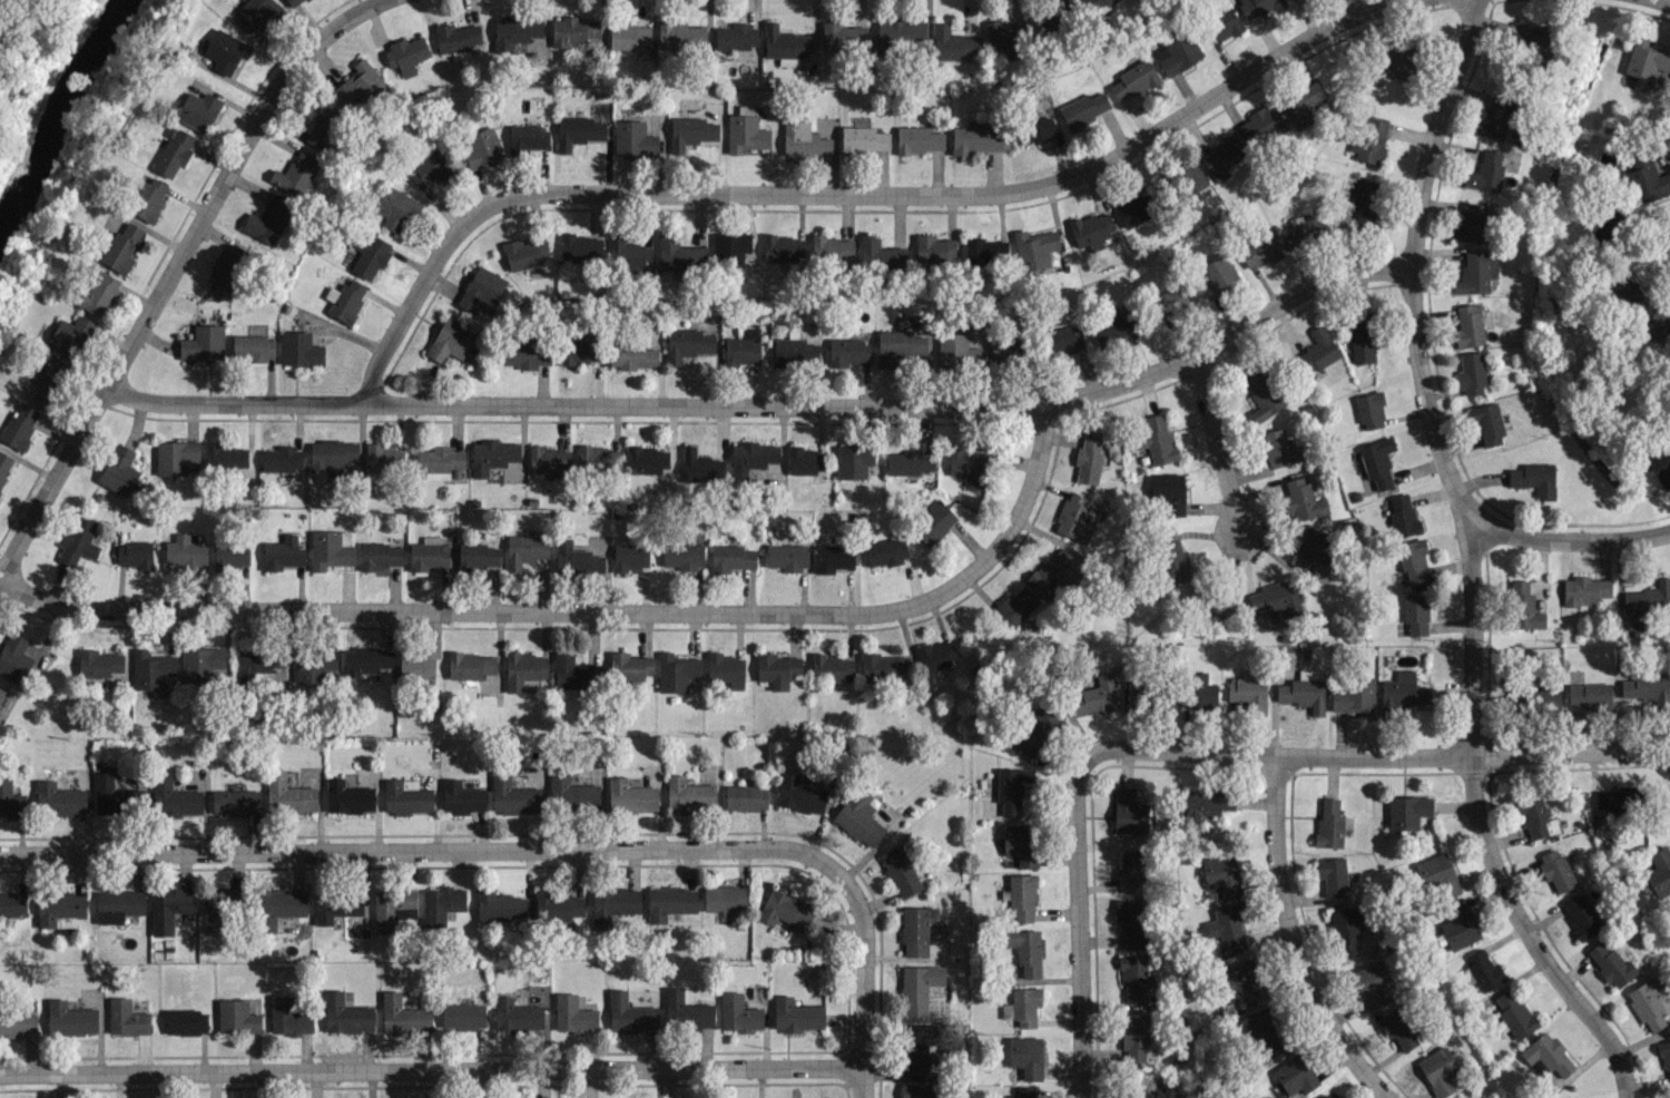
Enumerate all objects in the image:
road: (1666, 0)
building: (293, 2)
building: (1099, 3)
building: (1258, 7)
building: (257, 12)
building: (1058, 17)
building: (1220, 26)
building: (573, 30)
building: (514, 31)
building: (897, 32)
building: (681, 35)
building: (733, 36)
building: (629, 37)
building: (843, 37)
building: (1005, 38)
building: (455, 39)
building: (1534, 42)
building: (954, 43)
building: (785, 45)
building: (226, 50)
building: (1177, 52)
building: (406, 55)
building: (1399, 57)
building: (1646, 59)
building: (1133, 79)
building: (360, 84)
building: (1083, 109)
building: (198, 110)
river: (65, 114)
building: (1496, 117)
building: (323, 122)
building: (1260, 125)
building: (1033, 129)
building: (579, 131)
building: (690, 131)
building: (745, 134)
building: (529, 137)
building: (632, 138)
building: (862, 139)
building: (917, 139)
building: (804, 140)
building: (974, 140)
building: (1368, 140)
building: (481, 147)
building: (173, 151)
building: (1220, 157)
building: (432, 168)
building: (1485, 171)
building: (295, 173)
building: (1180, 176)
road: (845, 193)
building: (149, 199)
building: (1363, 200)
building: (395, 208)
building: (1134, 208)
building: (268, 220)
building: (1476, 224)
building: (1091, 229)
building: (1304, 231)
building: (121, 247)
building: (581, 247)
building: (730, 247)
building: (833, 247)
building: (784, 248)
building: (934, 248)
building: (1034, 248)
building: (985, 252)
building: (1259, 252)
building: (524, 253)
building: (369, 255)
building: (629, 255)
building: (679, 255)
building: (880, 255)
building: (230, 266)
road: (170, 268)
building: (1475, 273)
building: (1218, 276)
building: (481, 288)
building: (98, 293)
building: (345, 300)
building: (1176, 301)
building: (1468, 325)
building: (1114, 326)
building: (71, 335)
building: (1364, 336)
building: (1064, 339)
building: (452, 341)
building: (203, 343)
building: (687, 344)
building: (900, 345)
building: (253, 346)
building: (743, 346)
building: (299, 349)
building: (579, 349)
building: (1005, 349)
building: (1319, 349)
building: (794, 351)
building: (956, 351)
building: (525, 352)
building: (848, 352)
building: (632, 355)
building: (1471, 373)
road: (1418, 376)
building: (50, 379)
building: (1264, 391)
road: (769, 406)
building: (1371, 410)
building: (1487, 423)
building: (20, 425)
building: (1157, 439)
road: (1214, 444)
building: (1278, 448)
building: (175, 455)
building: (332, 455)
building: (492, 455)
building: (226, 457)
building: (750, 457)
building: (282, 459)
building: (384, 459)
building: (599, 459)
building: (647, 459)
building: (1088, 459)
building: (805, 460)
building: (439, 461)
building: (549, 461)
building: (853, 461)
building: (908, 461)
building: (1377, 462)
building: (970, 464)
building: (4, 465)
building: (700, 465)
building: (1660, 465)
building: (118, 470)
building: (1534, 479)
building: (1168, 492)
building: (1304, 499)
building: (1403, 514)
building: (1073, 517)
building: (934, 522)
road: (1561, 539)
building: (78, 541)
building: (1318, 542)
building: (331, 549)
building: (525, 550)
building: (185, 551)
building: (886, 552)
building: (134, 553)
building: (282, 553)
building: (428, 553)
building: (230, 555)
building: (380, 555)
building: (478, 555)
building: (682, 556)
building: (576, 558)
building: (730, 558)
building: (833, 558)
building: (1166, 560)
building: (1412, 560)
building: (1052, 571)
building: (1250, 576)
building: (1584, 590)
building: (1274, 600)
building: (1209, 601)
building: (1524, 605)
building: (1014, 606)
road: (582, 612)
building: (1415, 615)
building: (937, 655)
building: (14, 658)
building: (366, 659)
building: (98, 663)
building: (200, 663)
building: (257, 663)
building: (313, 665)
building: (416, 665)
building: (470, 665)
building: (883, 665)
building: (629, 666)
building: (833, 667)
building: (150, 668)
building: (524, 669)
building: (725, 669)
building: (777, 669)
building: (676, 671)
building: (574, 673)
building: (1642, 685)
building: (1304, 690)
building: (1136, 692)
building: (1198, 692)
building: (1248, 692)
building: (1402, 692)
building: (1589, 695)
building: (3, 696)
building: (1097, 696)
building: (1355, 696)
building: (1550, 699)
building: (1522, 700)
building: (1038, 731)
road: (1371, 756)
road: (1667, 759)
building: (1011, 788)
building: (571, 790)
building: (689, 794)
building: (798, 794)
building: (115, 795)
building: (288, 795)
building: (513, 796)
building: (630, 796)
building: (347, 797)
building: (405, 797)
building: (462, 797)
building: (745, 797)
building: (174, 798)
building: (1615, 798)
building: (10, 800)
building: (59, 800)
building: (236, 802)
building: (1205, 803)
building: (1407, 811)
building: (1129, 812)
building: (859, 817)
building: (1535, 817)
building: (1329, 823)
building: (1021, 844)
road: (419, 851)
building: (1555, 870)
building: (900, 871)
building: (1131, 871)
building: (1658, 872)
building: (1221, 874)
building: (1332, 876)
building: (1022, 896)
building: (724, 898)
building: (669, 902)
building: (12, 903)
building: (224, 903)
building: (441, 903)
building: (613, 904)
building: (118, 905)
building: (336, 905)
building: (499, 905)
building: (559, 905)
building: (278, 906)
building: (392, 908)
building: (60, 909)
building: (785, 909)
building: (168, 910)
building: (1580, 915)
building: (1132, 922)
building: (1227, 925)
building: (1460, 925)
road: (1075, 928)
building: (916, 929)
building: (1345, 930)
road: (1526, 935)
road: (1289, 939)
building: (1026, 950)
building: (1611, 963)
building: (1483, 970)
building: (1132, 977)
road: (863, 979)
building: (1238, 982)
building: (1372, 982)
building: (918, 988)
building: (1647, 1003)
building: (1023, 1006)
building: (686, 1011)
building: (630, 1013)
building: (738, 1013)
building: (1513, 1013)
building: (345, 1014)
building: (517, 1014)
building: (573, 1014)
building: (796, 1014)
building: (403, 1016)
building: (462, 1016)
building: (237, 1017)
building: (288, 1017)
building: (70, 1018)
building: (126, 1018)
building: (186, 1021)
building: (18, 1023)
building: (1399, 1029)
building: (1264, 1033)
building: (1136, 1037)
building: (918, 1046)
building: (1549, 1053)
building: (1025, 1056)
building: (1666, 1057)
road: (430, 1069)
building: (1438, 1070)
building: (1295, 1075)
building: (917, 1090)
building: (1024, 1091)
building: (1158, 1094)
building: (1668, 1095)
building: (1328, 1096)

